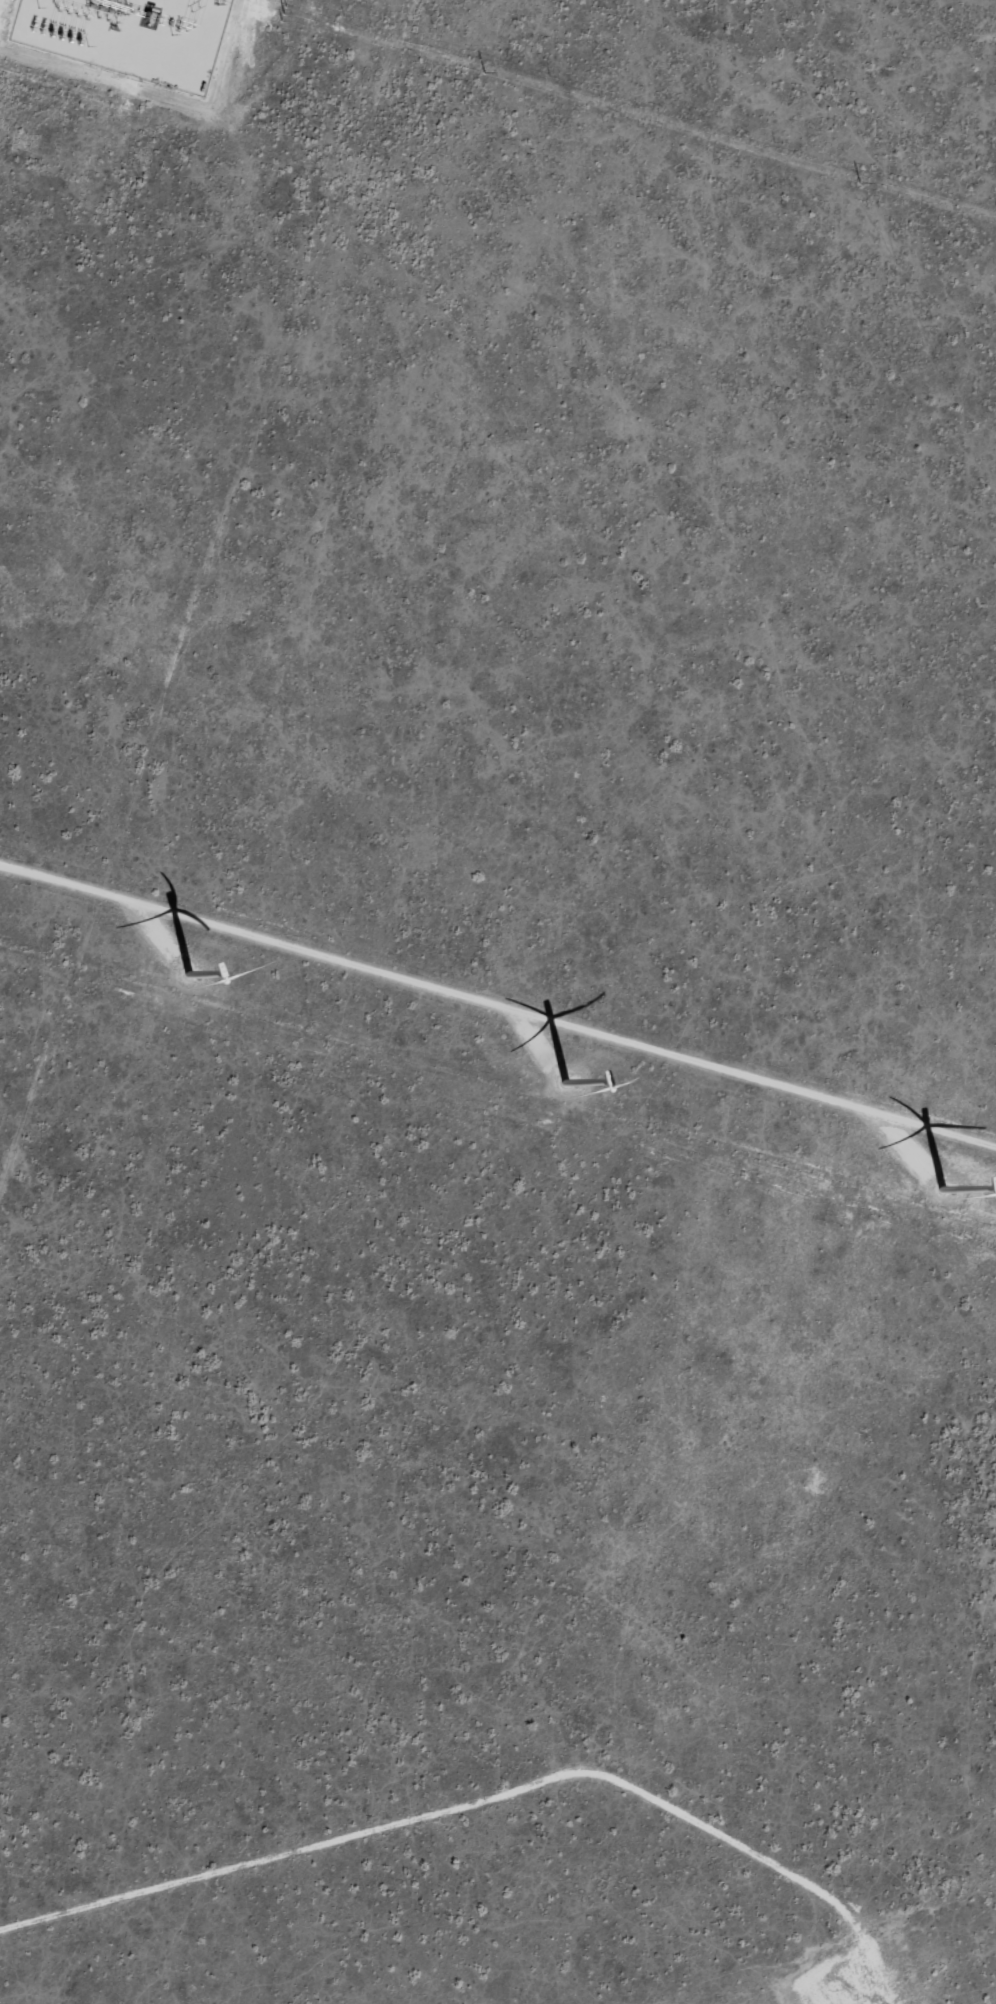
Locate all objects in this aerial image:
power tower: (284, 12)
power substation: (131, 36)
power tower: (483, 73)
power tower: (859, 183)
wind turbine: (143, 941)
wind turbine: (558, 1080)
wind turbine: (913, 1201)

